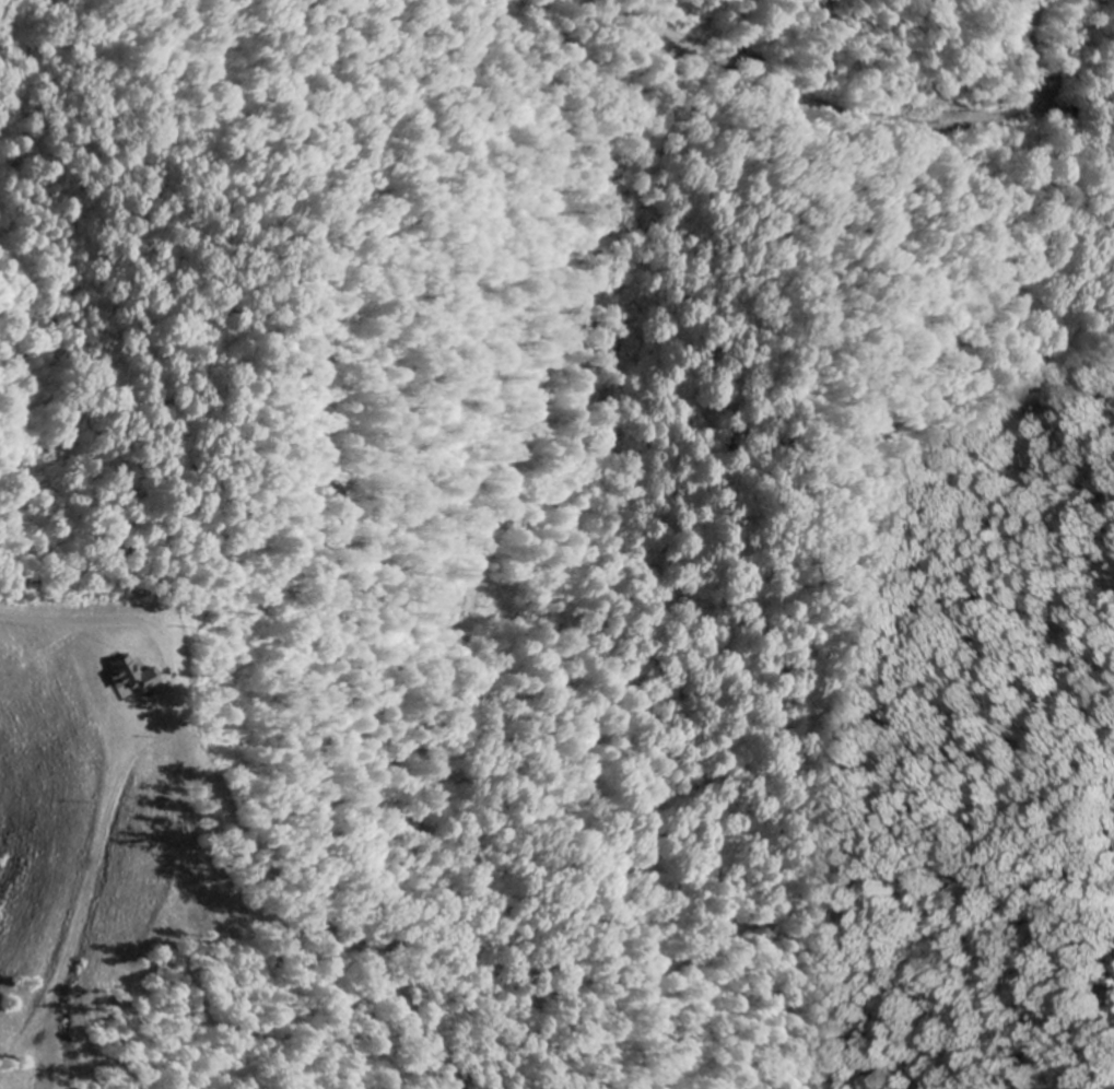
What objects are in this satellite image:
building: (131, 676)

